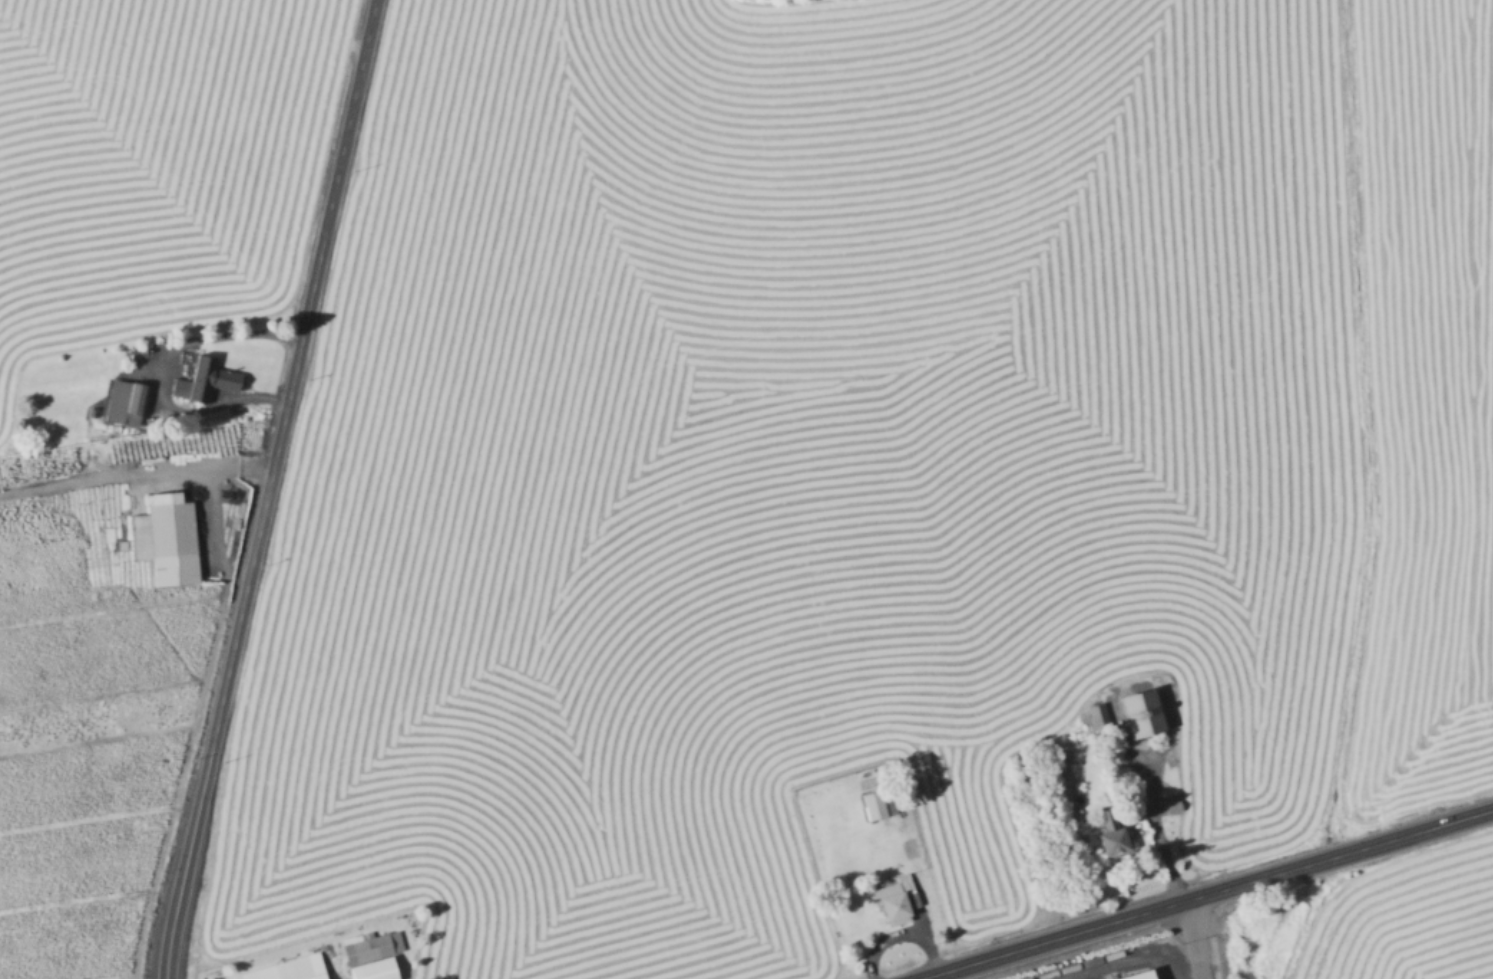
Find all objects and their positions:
road: (159, 372)
building: (205, 378)
building: (126, 397)
road: (134, 471)
road: (264, 488)
building: (167, 537)
building: (16, 582)
building: (1161, 634)
building: (1144, 711)
building: (1098, 715)
building: (878, 803)
building: (1172, 806)
building: (1133, 808)
road: (1157, 830)
building: (1116, 835)
building: (884, 836)
road: (1204, 893)
building: (898, 897)
crop: (1377, 926)
road: (1192, 938)
building: (373, 954)
building: (288, 968)
building: (1140, 976)

